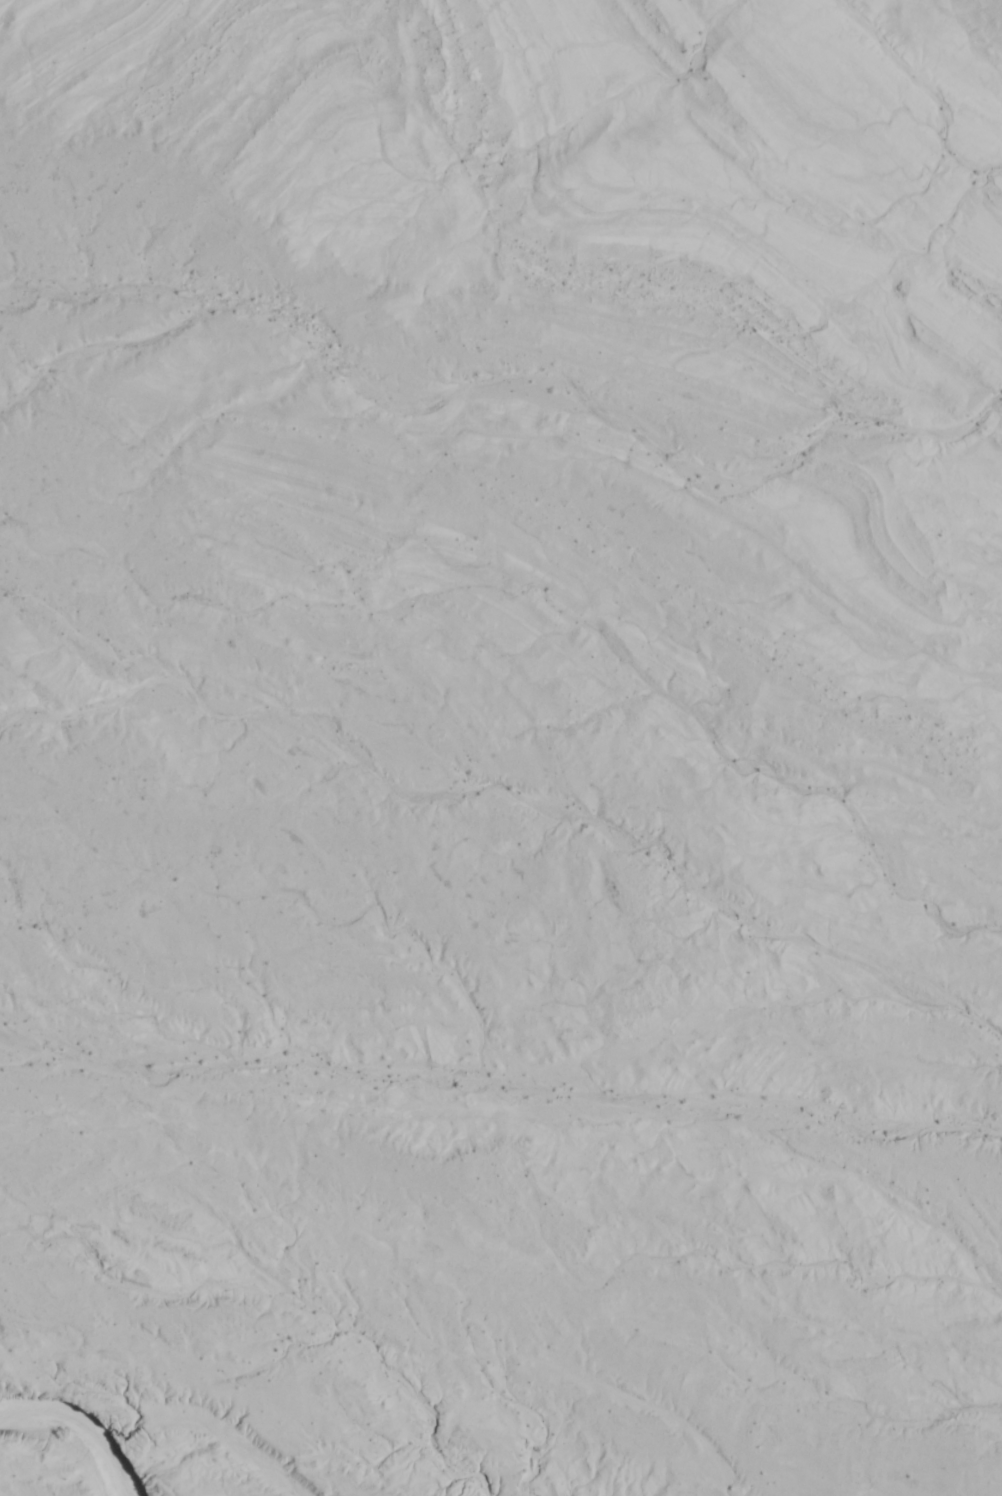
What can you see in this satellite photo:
road: (83, 1422)

